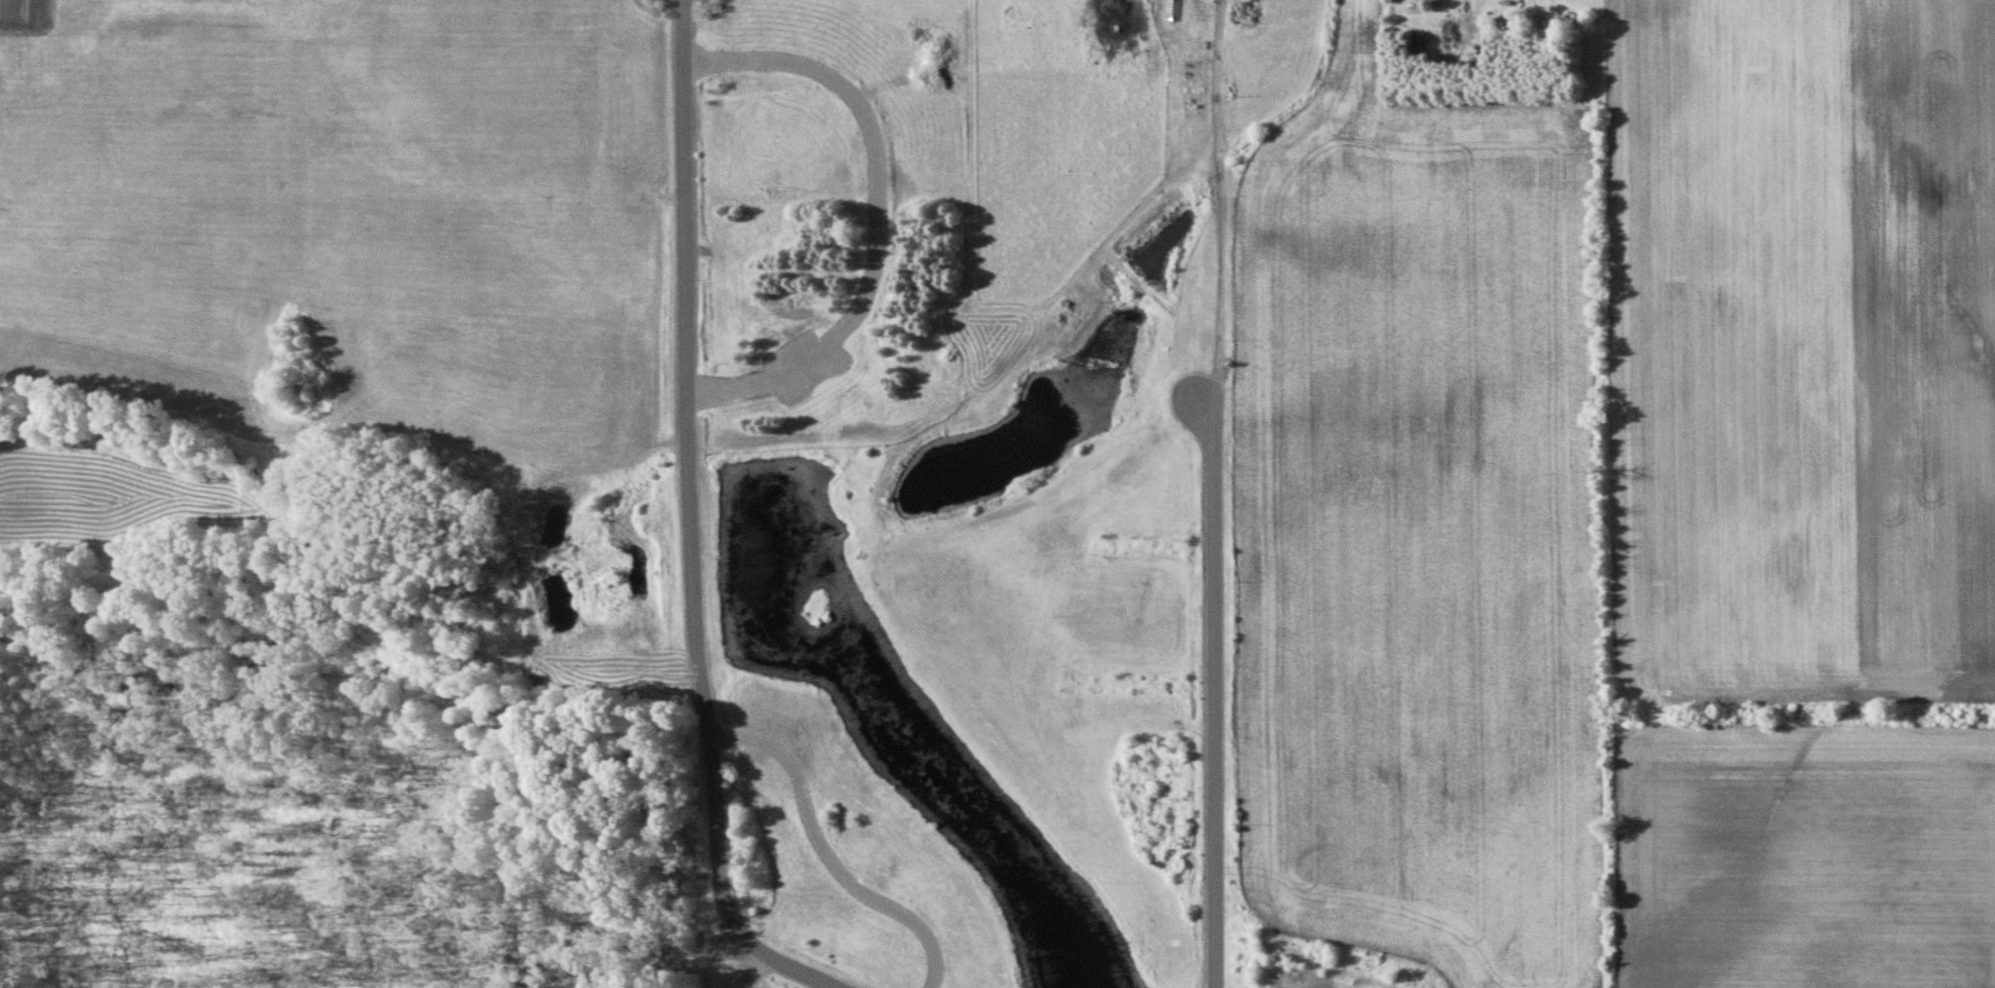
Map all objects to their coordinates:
road: (1225, 206)
road: (691, 522)
road: (1216, 695)

